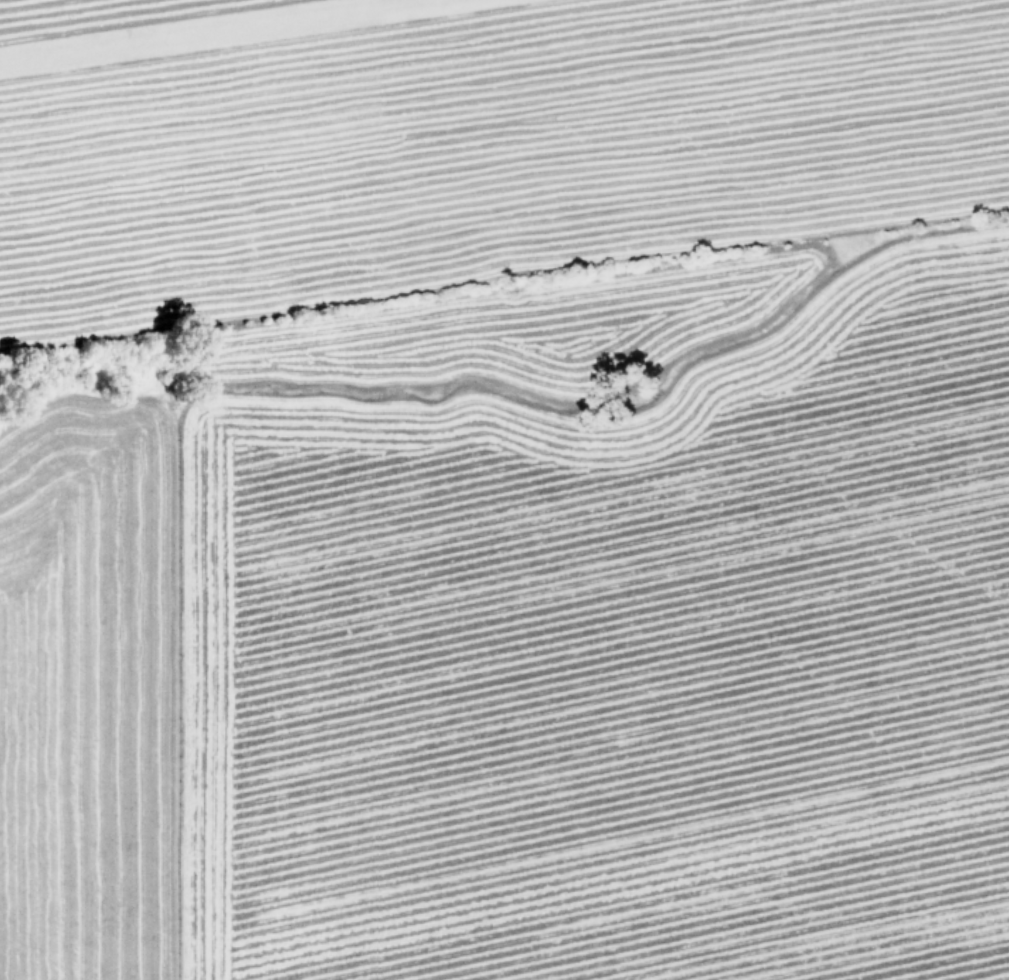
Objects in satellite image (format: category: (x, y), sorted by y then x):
airport runway: (231, 33)
crop: (504, 490)

